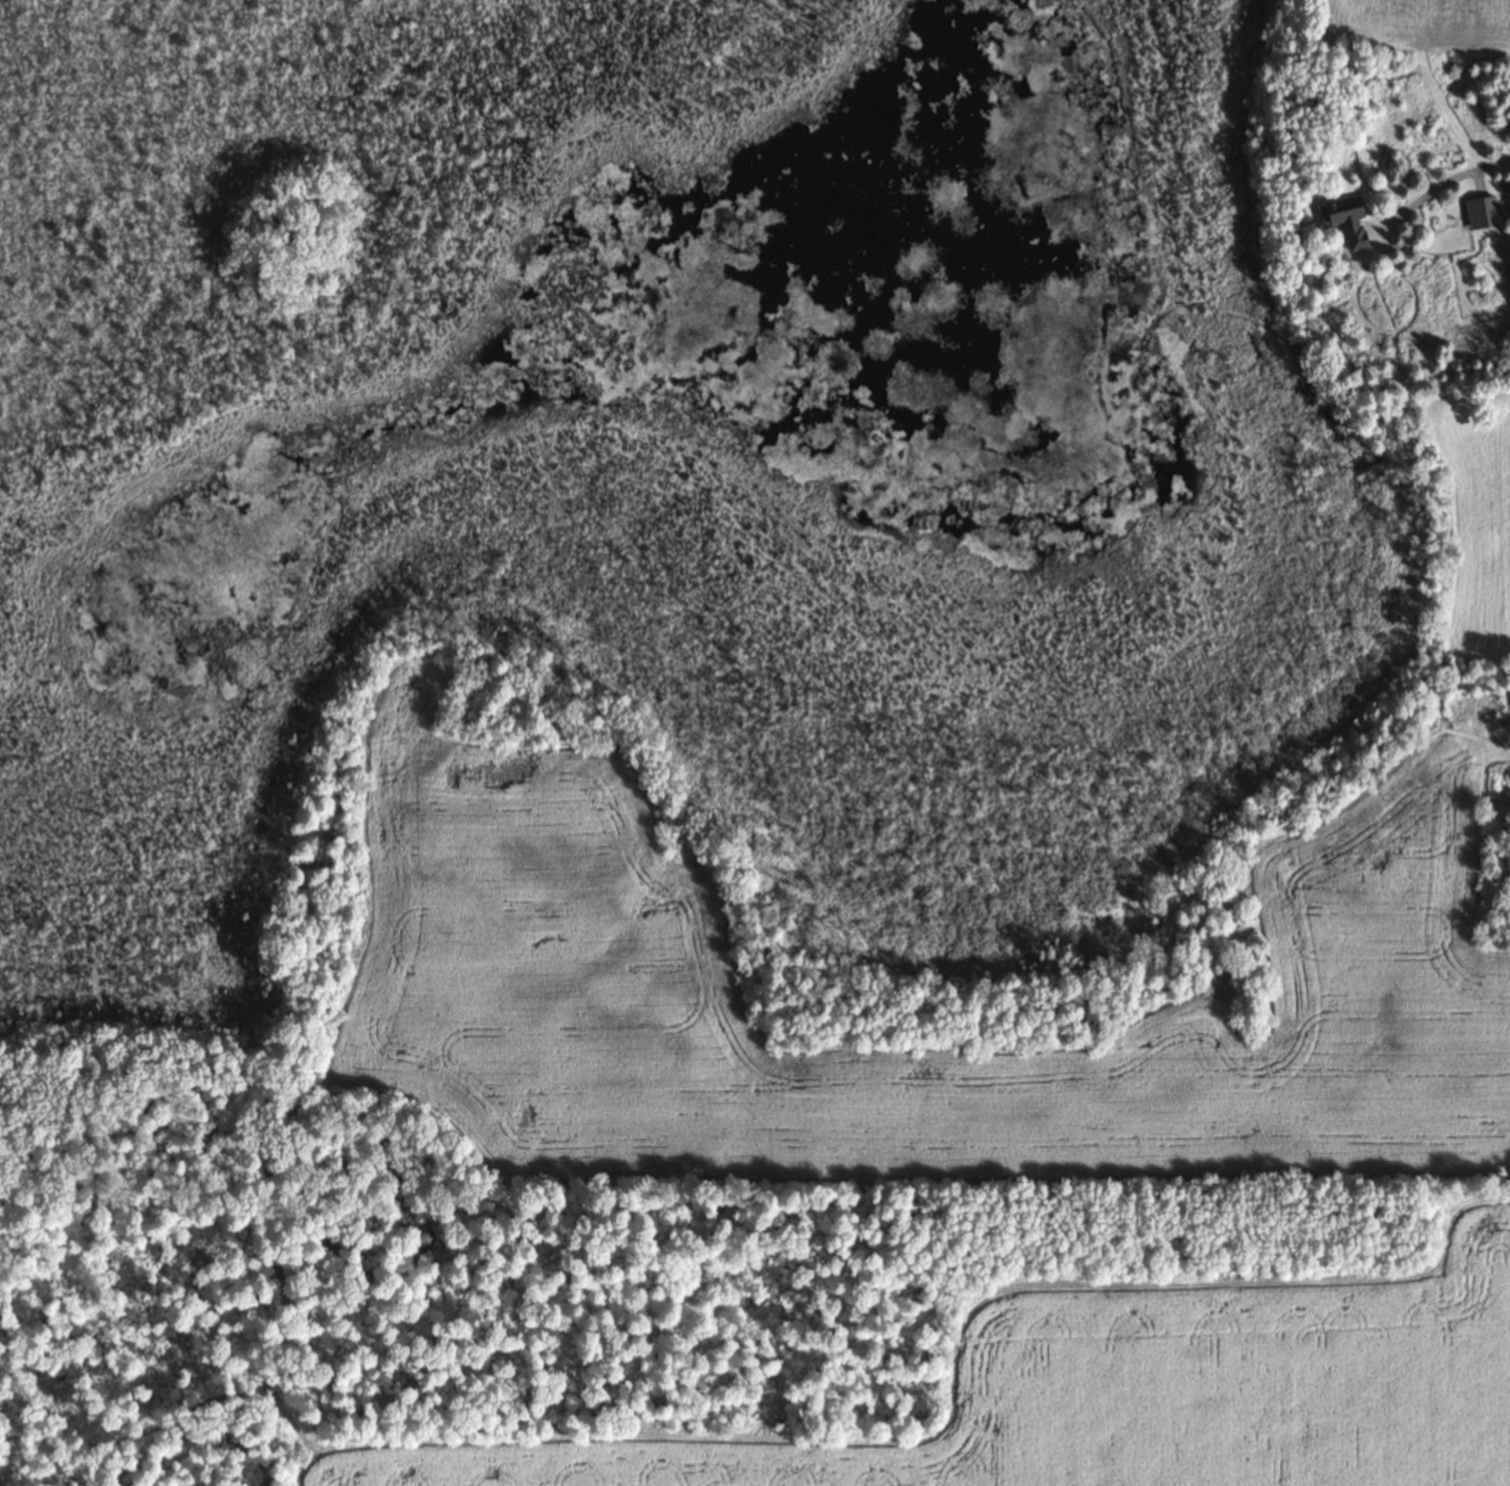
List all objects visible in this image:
building: (1480, 212)
building: (1346, 220)
building: (1386, 1439)

